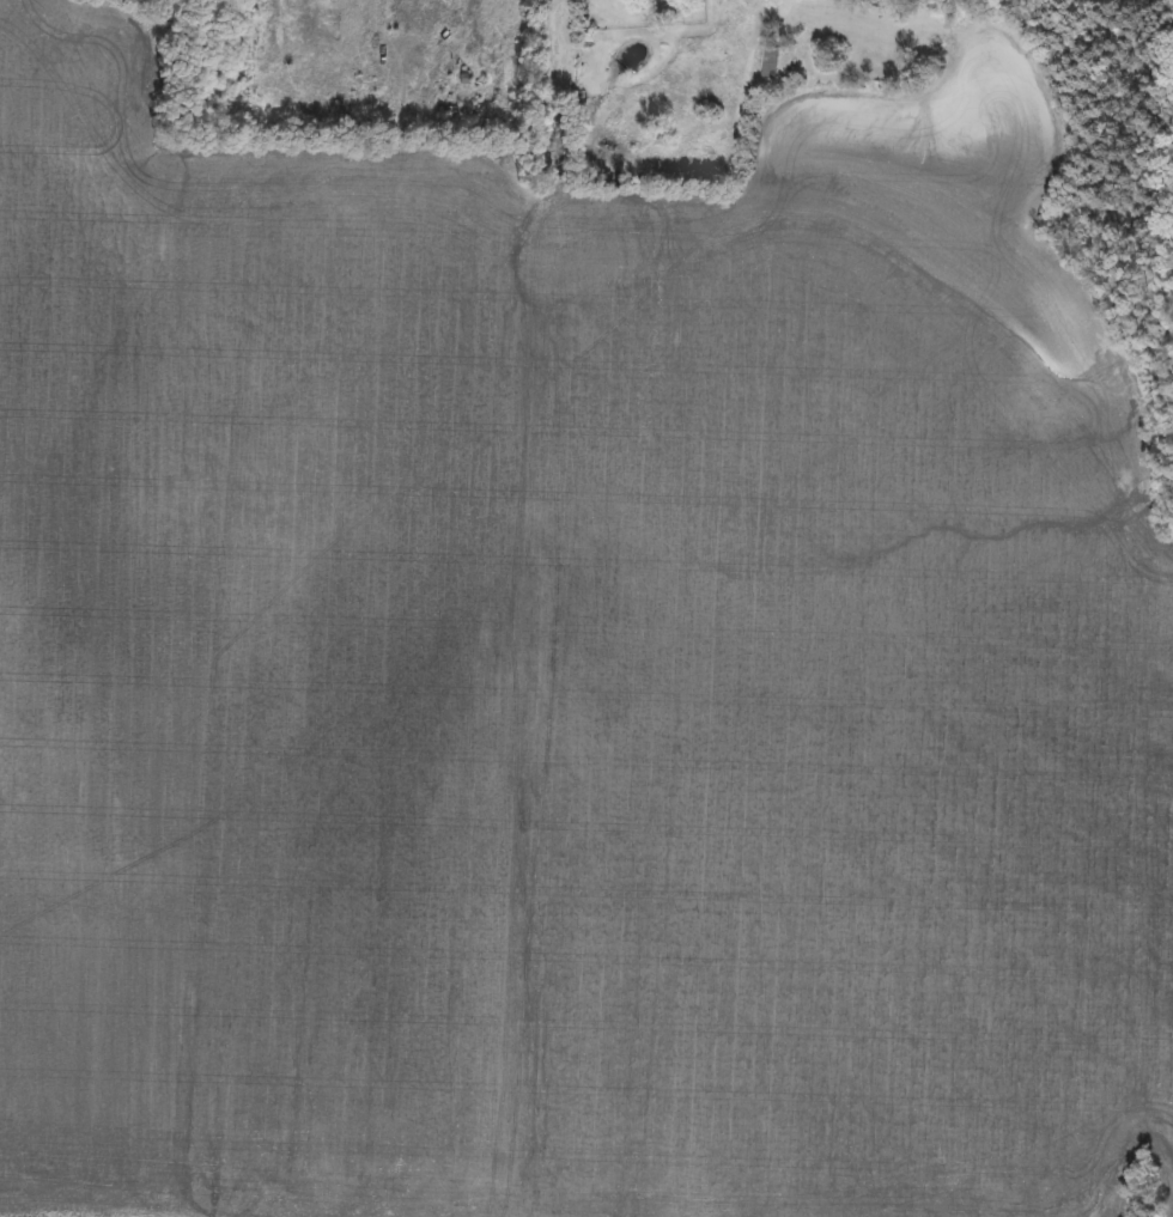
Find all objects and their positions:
building: (768, 65)

